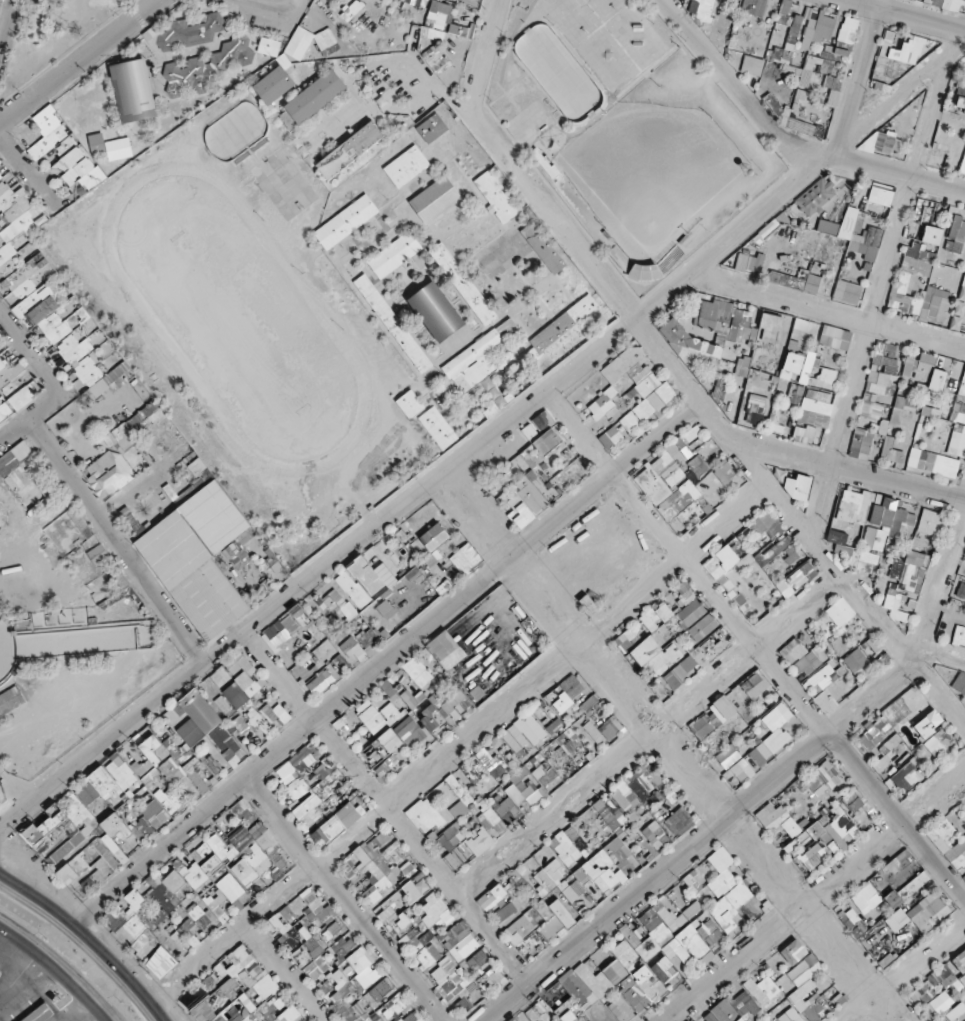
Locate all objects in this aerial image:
park: (653, 173)

